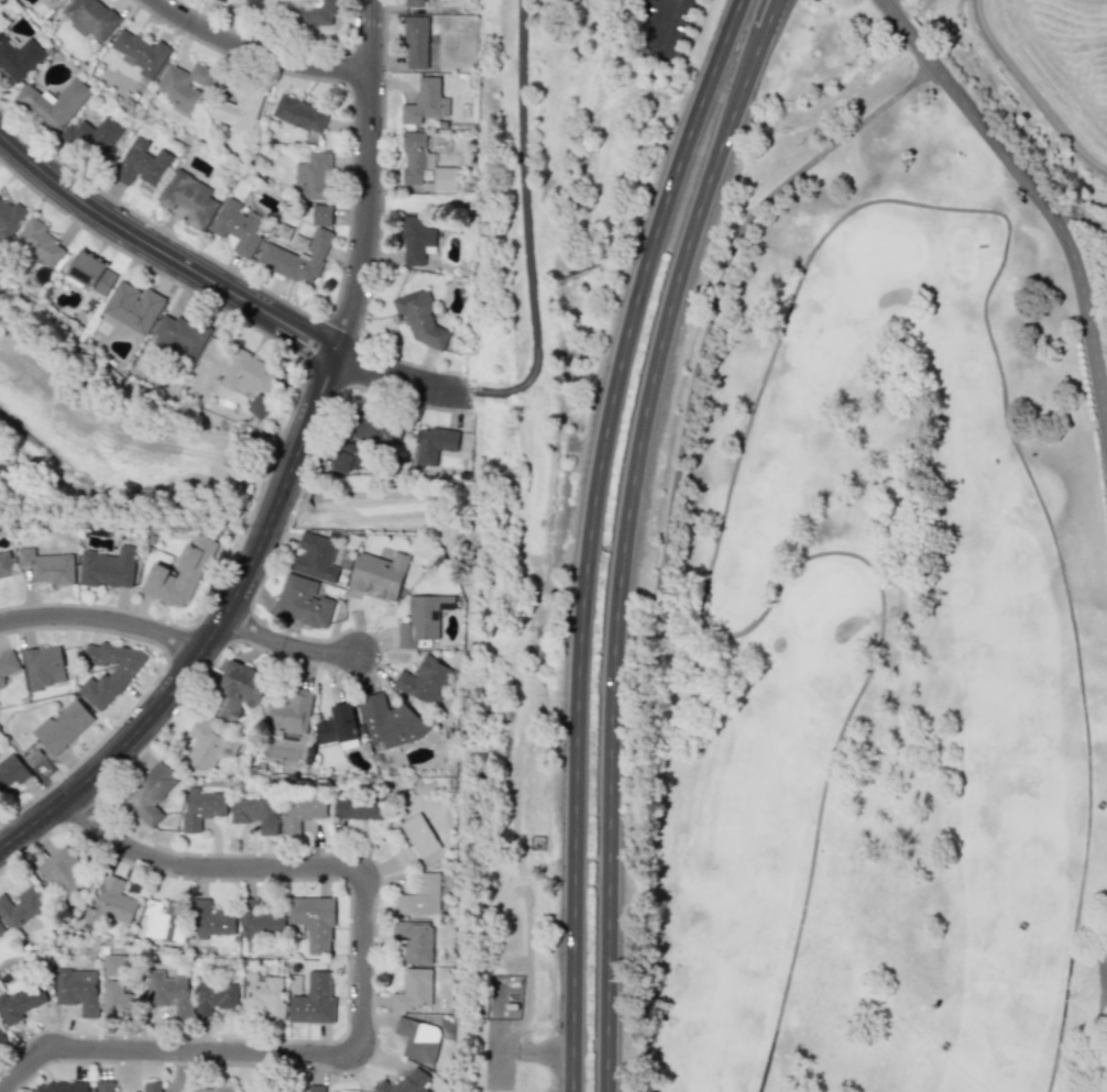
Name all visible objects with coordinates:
building: (55, 0)
building: (222, 0)
building: (254, 2)
building: (414, 2)
building: (313, 12)
building: (90, 18)
road: (667, 22)
building: (0, 26)
building: (418, 45)
building: (140, 53)
road: (256, 53)
building: (19, 57)
airport: (1035, 82)
building: (184, 86)
building: (425, 101)
building: (53, 102)
building: (237, 109)
building: (299, 114)
building: (91, 136)
building: (415, 157)
building: (142, 163)
building: (313, 177)
building: (445, 178)
road: (368, 179)
building: (189, 199)
road: (1041, 201)
building: (321, 214)
road: (525, 216)
building: (10, 218)
building: (238, 225)
building: (415, 240)
building: (40, 242)
road: (164, 252)
building: (297, 258)
rooftop solar panel: (83, 269)
road: (803, 271)
building: (91, 273)
building: (133, 306)
building: (420, 318)
building: (178, 338)
building: (249, 378)
road: (407, 382)
building: (374, 430)
building: (434, 443)
building: (348, 457)
road: (589, 534)
road: (623, 534)
railway: (512, 547)
building: (316, 561)
building: (6, 564)
building: (47, 566)
building: (108, 567)
building: (179, 574)
building: (379, 574)
building: (302, 603)
rooftop solar panel: (447, 603)
park: (872, 606)
rooftop solar panel: (436, 613)
road: (105, 618)
building: (423, 618)
road: (213, 635)
road: (286, 644)
building: (8, 665)
building: (44, 666)
building: (113, 679)
building: (424, 680)
building: (237, 691)
building: (288, 712)
building: (387, 721)
building: (63, 726)
building: (338, 727)
building: (209, 743)
park: (282, 751)
building: (11, 769)
building: (150, 793)
building: (358, 807)
building: (201, 808)
building: (256, 813)
building: (302, 813)
building: (415, 840)
building: (62, 872)
building: (420, 895)
building: (110, 905)
building: (21, 907)
building: (163, 920)
building: (211, 920)
building: (260, 920)
building: (314, 920)
building: (1, 928)
building: (414, 940)
road: (354, 986)
building: (76, 989)
building: (413, 990)
building: (169, 992)
road: (1106, 992)
building: (263, 994)
building: (116, 997)
building: (213, 997)
building: (19, 1000)
building: (314, 1001)
building: (1, 1037)
building: (418, 1039)
building: (404, 1083)
building: (105, 1085)
building: (61, 1087)
building: (152, 1087)
building: (315, 1088)
building: (211, 1089)
building: (346, 1091)

